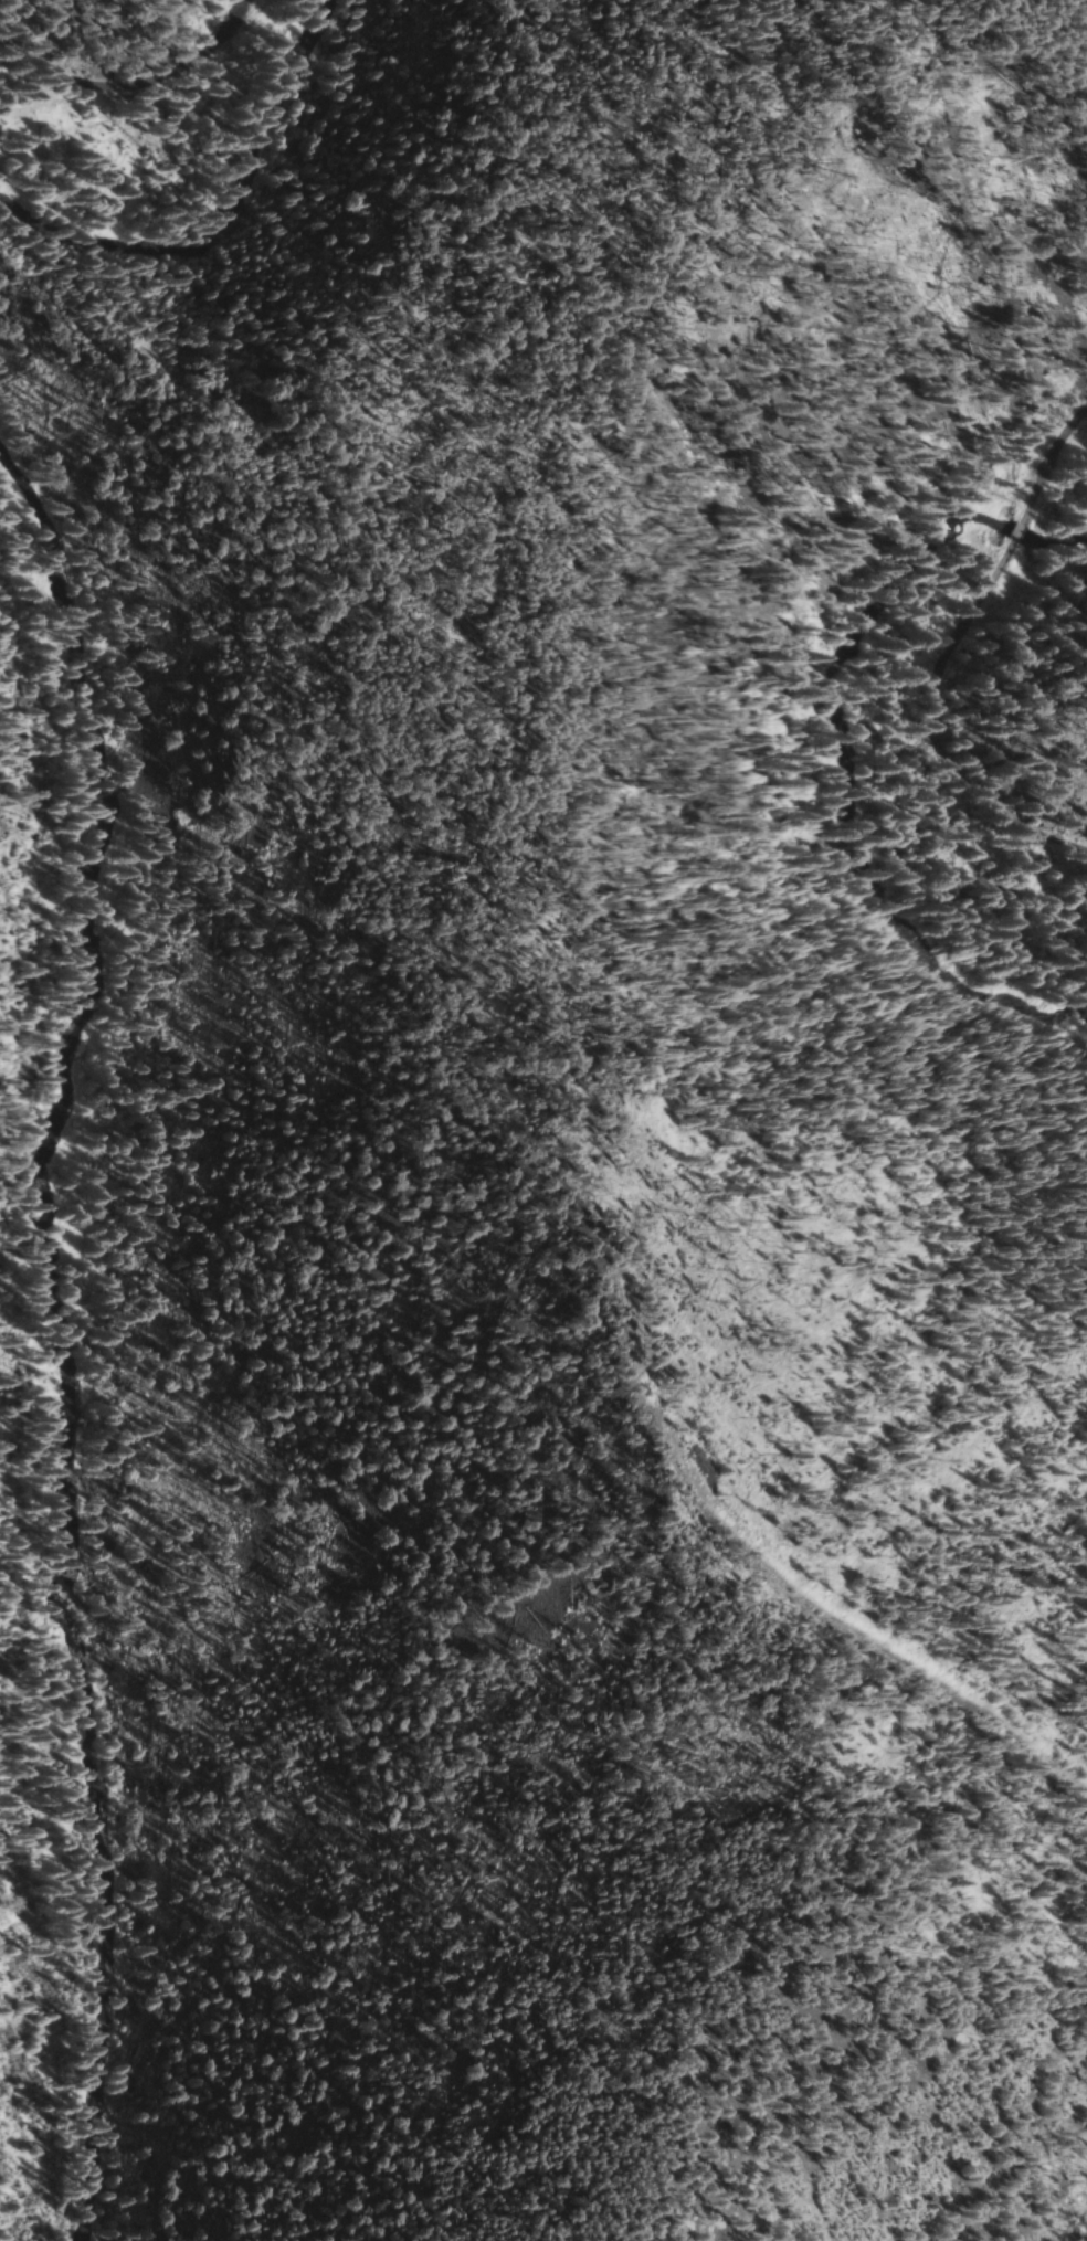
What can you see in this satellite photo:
road: (130, 81)
river: (224, 219)
road: (1054, 459)
road: (1012, 537)
road: (937, 736)
river: (844, 750)
river: (61, 1334)

